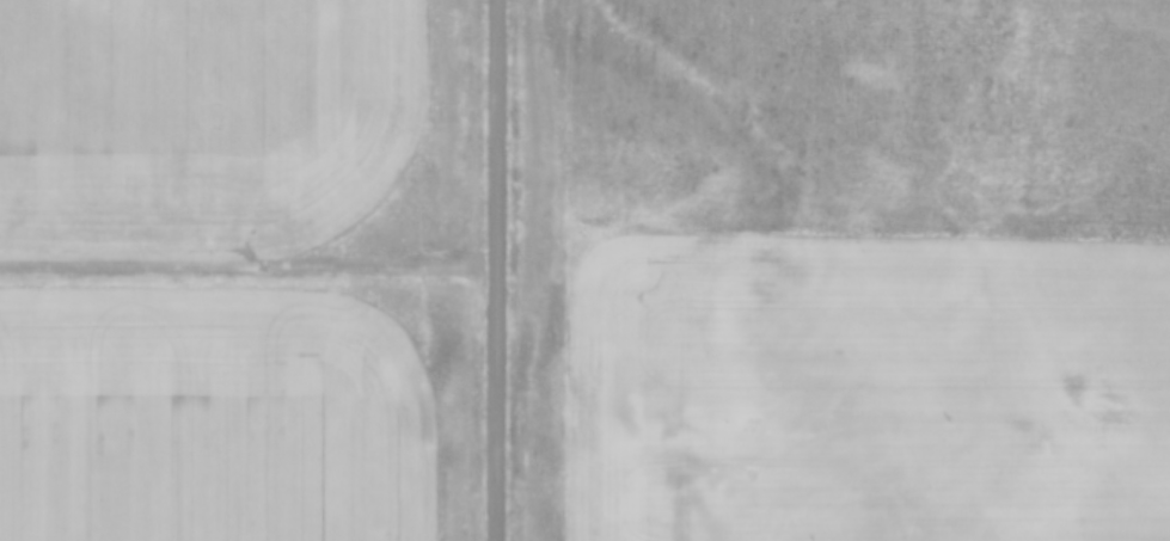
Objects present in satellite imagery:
road: (245, 268)
road: (492, 270)

